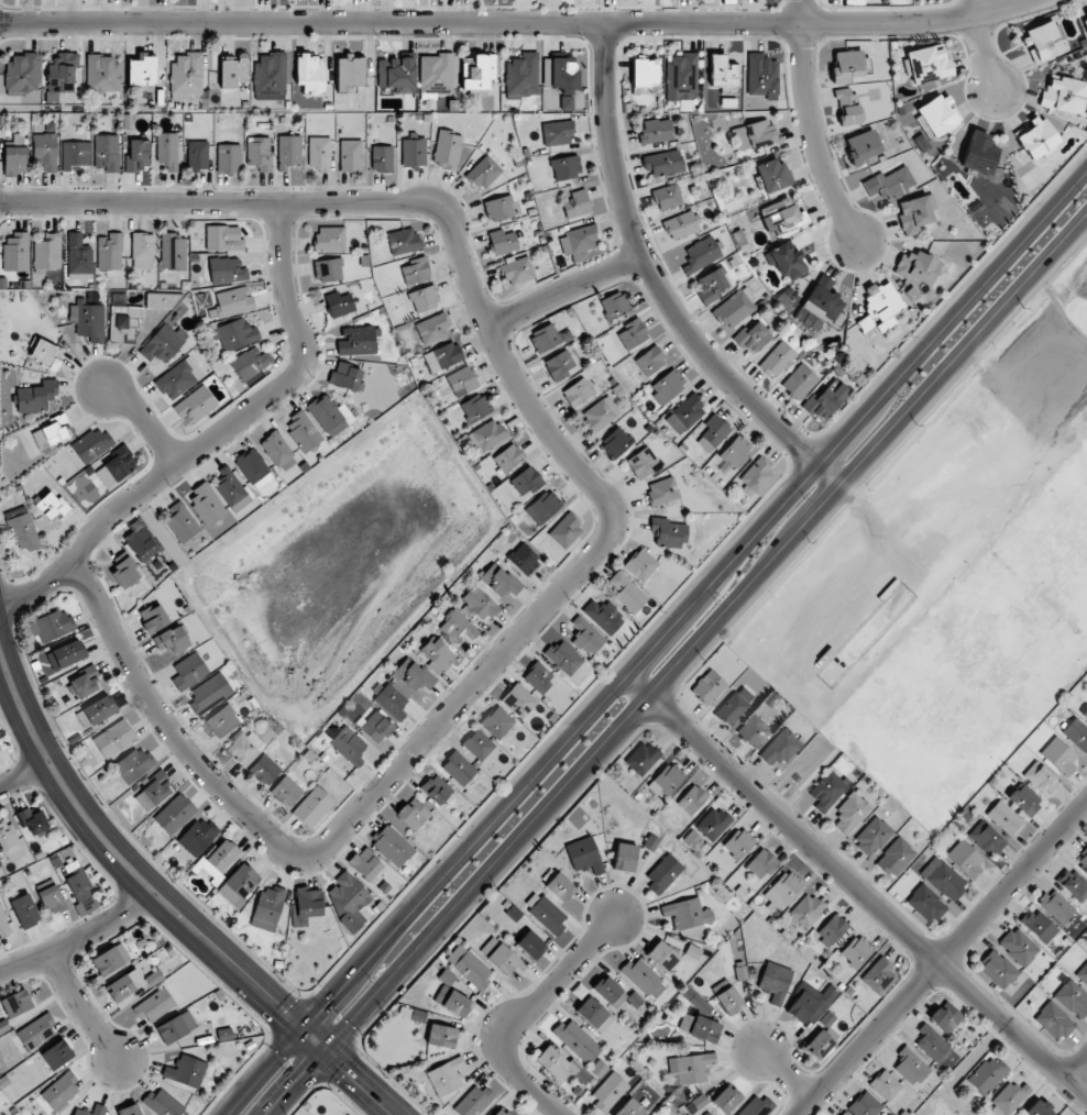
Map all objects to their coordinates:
building: (1085, 18)
road: (517, 19)
building: (1042, 42)
road: (979, 43)
building: (926, 63)
building: (846, 66)
building: (142, 70)
building: (232, 70)
building: (722, 71)
building: (349, 73)
building: (22, 74)
building: (102, 74)
building: (310, 74)
building: (479, 74)
building: (645, 74)
building: (270, 75)
building: (436, 75)
building: (186, 76)
building: (396, 76)
building: (521, 76)
building: (761, 76)
building: (681, 77)
building: (564, 79)
building: (1064, 95)
building: (846, 107)
building: (937, 115)
road: (811, 128)
building: (656, 131)
building: (557, 133)
building: (760, 133)
building: (1036, 137)
building: (863, 146)
building: (45, 148)
building: (447, 150)
building: (167, 151)
building: (107, 152)
building: (288, 152)
building: (979, 153)
building: (75, 154)
building: (259, 154)
building: (319, 154)
building: (197, 155)
building: (350, 155)
building: (136, 156)
building: (229, 158)
building: (382, 158)
building: (14, 161)
building: (662, 163)
building: (566, 167)
building: (484, 173)
building: (772, 175)
building: (889, 184)
road: (407, 196)
building: (667, 197)
building: (577, 203)
building: (498, 208)
building: (915, 213)
building: (782, 216)
building: (682, 224)
building: (223, 239)
building: (330, 239)
building: (579, 240)
building: (403, 241)
building: (503, 242)
building: (142, 251)
building: (15, 252)
building: (47, 252)
building: (109, 252)
building: (173, 252)
building: (701, 254)
building: (78, 257)
building: (784, 261)
building: (918, 267)
building: (328, 269)
building: (227, 271)
building: (415, 271)
building: (517, 271)
road: (659, 283)
road: (567, 284)
building: (712, 285)
building: (425, 298)
building: (823, 300)
building: (234, 301)
building: (340, 303)
building: (615, 305)
building: (882, 305)
road: (1058, 308)
building: (733, 310)
building: (88, 319)
building: (123, 323)
building: (432, 329)
building: (633, 333)
building: (235, 334)
building: (543, 338)
building: (753, 338)
building: (356, 341)
building: (163, 343)
building: (46, 354)
building: (442, 356)
building: (778, 360)
building: (649, 361)
building: (251, 363)
building: (559, 365)
building: (345, 377)
building: (178, 378)
building: (462, 380)
building: (799, 382)
building: (667, 386)
building: (578, 393)
building: (35, 397)
building: (825, 400)
building: (195, 405)
building: (475, 408)
building: (601, 413)
building: (330, 415)
building: (684, 415)
road: (142, 418)
building: (303, 431)
building: (52, 432)
building: (713, 432)
road: (220, 433)
building: (487, 435)
building: (616, 442)
building: (91, 444)
building: (278, 451)
building: (735, 452)
building: (508, 457)
building: (641, 463)
building: (116, 467)
building: (253, 468)
building: (755, 476)
building: (526, 481)
building: (231, 488)
building: (662, 490)
building: (206, 504)
building: (53, 506)
building: (543, 507)
building: (180, 522)
building: (566, 530)
building: (23, 532)
building: (668, 532)
building: (141, 542)
building: (524, 560)
building: (640, 564)
park: (948, 573)
building: (124, 574)
building: (502, 582)
building: (627, 593)
building: (479, 604)
building: (603, 616)
building: (154, 618)
building: (52, 626)
building: (458, 627)
building: (586, 637)
building: (172, 640)
road: (654, 640)
building: (69, 653)
building: (438, 655)
building: (563, 658)
road: (679, 667)
building: (189, 671)
building: (413, 675)
building: (538, 676)
building: (84, 683)
building: (707, 687)
building: (209, 694)
building: (518, 700)
building: (392, 702)
building: (734, 706)
building: (97, 711)
building: (1085, 716)
building: (222, 721)
building: (497, 722)
building: (375, 726)
building: (753, 730)
building: (1076, 733)
building: (113, 738)
building: (477, 744)
building: (349, 746)
building: (241, 748)
building: (780, 748)
building: (0, 750)
building: (1059, 755)
building: (641, 758)
building: (134, 764)
building: (459, 769)
building: (264, 770)
building: (1042, 777)
building: (667, 780)
road: (26, 781)
building: (437, 790)
building: (826, 790)
building: (153, 792)
building: (286, 792)
building: (691, 799)
building: (1024, 799)
building: (312, 807)
building: (852, 813)
building: (174, 814)
building: (413, 814)
building: (1004, 817)
building: (32, 823)
building: (713, 824)
road: (339, 835)
building: (198, 836)
building: (872, 836)
building: (986, 838)
building: (9, 841)
building: (739, 842)
building: (393, 846)
building: (584, 855)
building: (625, 857)
building: (896, 857)
building: (965, 859)
building: (1081, 860)
building: (365, 863)
building: (761, 863)
building: (663, 874)
building: (943, 879)
building: (239, 884)
building: (1073, 884)
building: (559, 886)
road: (853, 886)
building: (782, 891)
building: (81, 892)
building: (52, 899)
building: (348, 899)
building: (925, 903)
building: (306, 905)
building: (1056, 906)
building: (267, 907)
building: (806, 909)
building: (24, 910)
road: (166, 910)
building: (545, 913)
building: (687, 913)
building: (3, 925)
building: (1039, 926)
building: (831, 930)
building: (530, 945)
building: (1019, 947)
road: (84, 949)
building: (856, 950)
building: (499, 956)
building: (662, 956)
road: (944, 960)
building: (107, 961)
building: (469, 967)
building: (998, 969)
building: (1083, 974)
building: (640, 976)
building: (878, 976)
building: (775, 982)
building: (124, 985)
building: (608, 991)
building: (451, 996)
building: (1073, 997)
building: (729, 1001)
building: (15, 1003)
building: (810, 1003)
building: (153, 1005)
road: (85, 1011)
road: (525, 1013)
building: (594, 1014)
building: (945, 1017)
building: (1054, 1020)
building: (176, 1027)
building: (701, 1028)
building: (36, 1031)
building: (224, 1035)
building: (441, 1036)
building: (577, 1040)
building: (820, 1044)
building: (932, 1044)
building: (56, 1055)
building: (558, 1064)
building: (911, 1066)
building: (689, 1068)
building: (186, 1071)
road: (1079, 1072)
building: (987, 1074)
building: (446, 1077)
road: (784, 1078)
building: (886, 1085)
building: (61, 1091)
building: (608, 1091)
building: (1010, 1097)
building: (726, 1099)
building: (473, 1102)
building: (163, 1103)
building: (865, 1105)
building: (756, 1106)
building: (629, 1108)
building: (1039, 1108)
building: (98, 1110)
building: (129, 1111)
building: (502, 1112)
building: (349, 1114)
building: (844, 1114)

